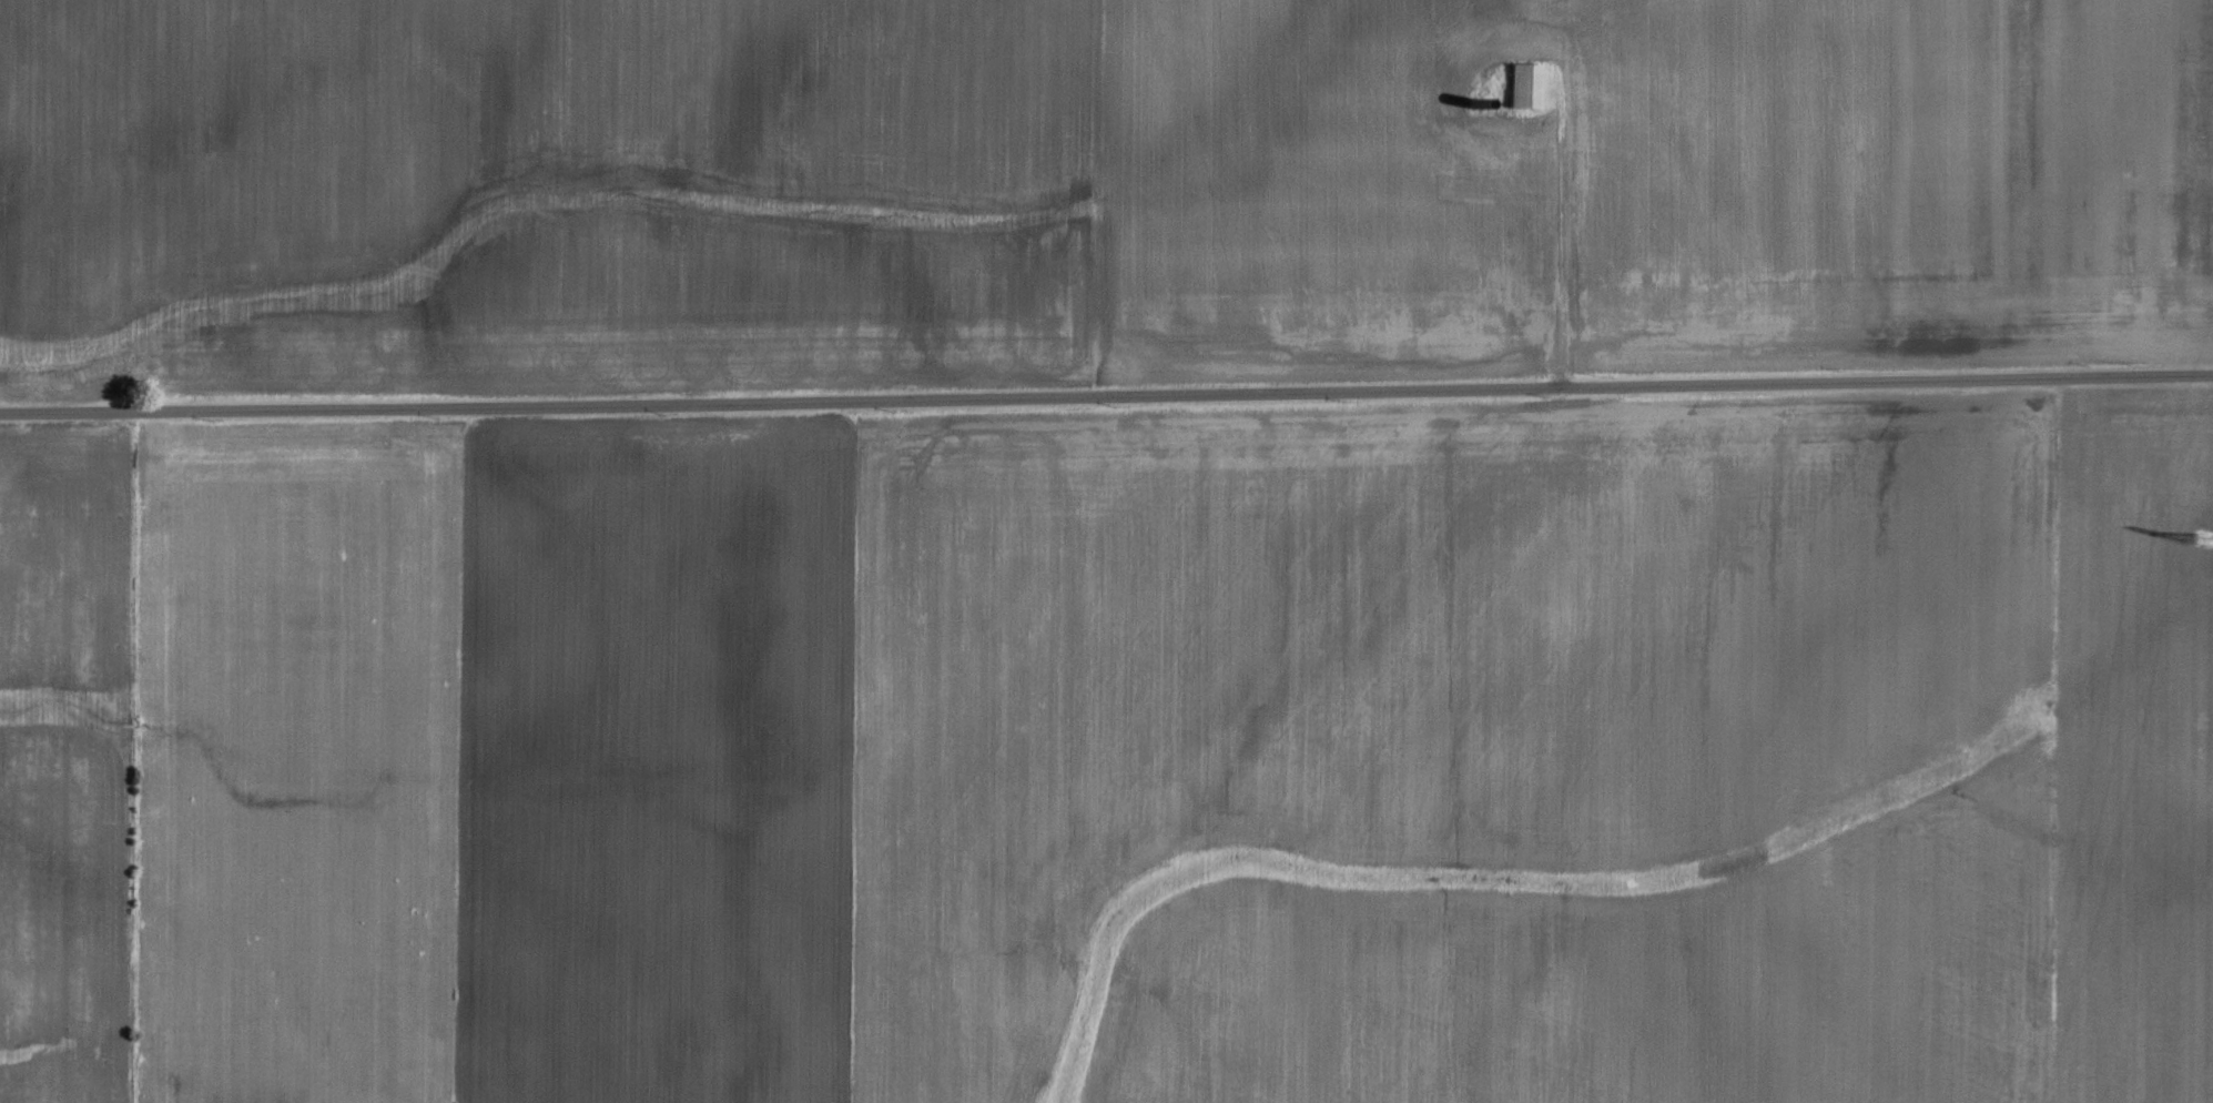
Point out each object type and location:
building: (1525, 87)
road: (1106, 391)
power tower: (2207, 540)

